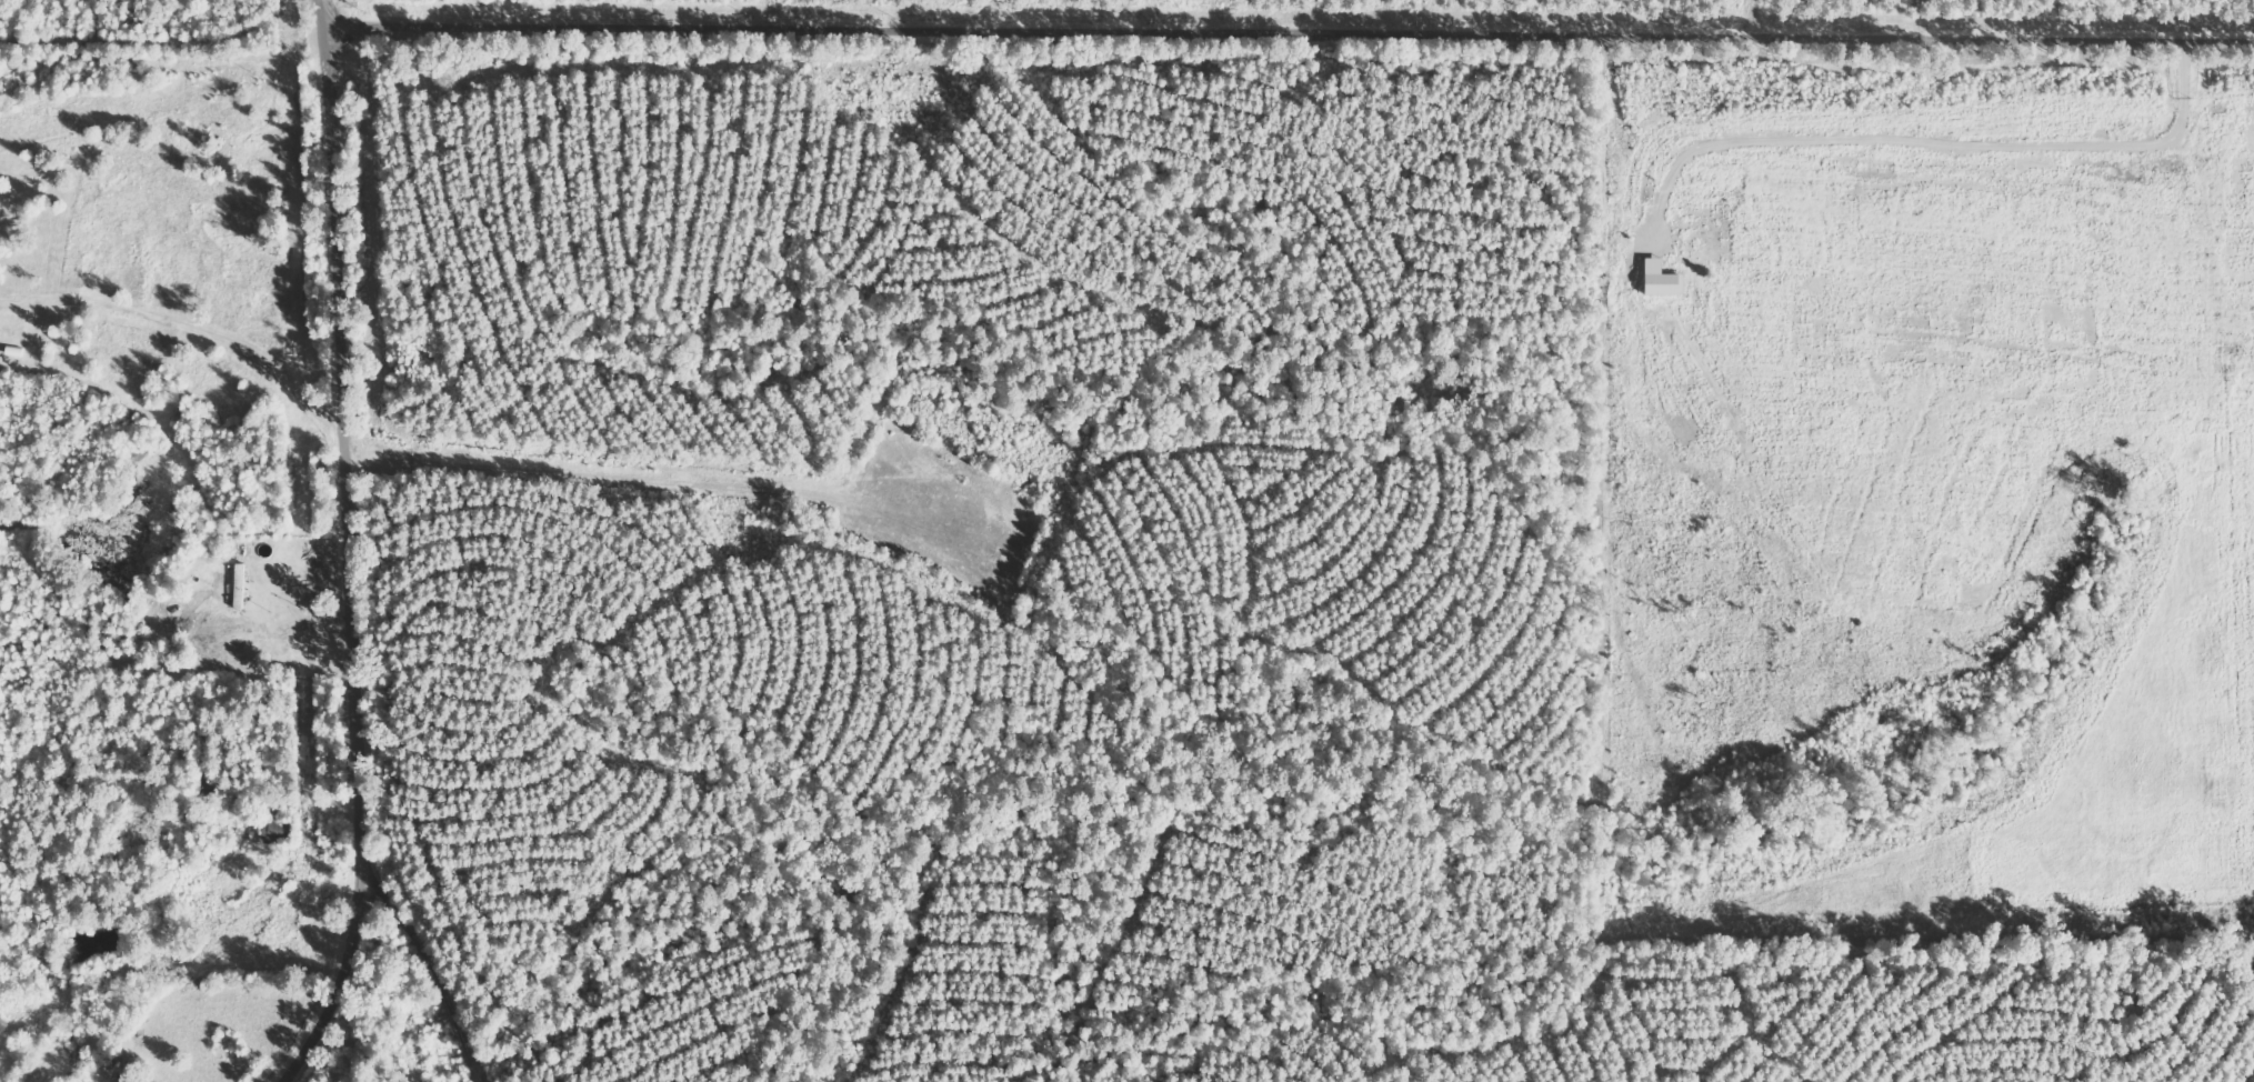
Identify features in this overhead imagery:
road: (1282, 51)
road: (320, 551)

